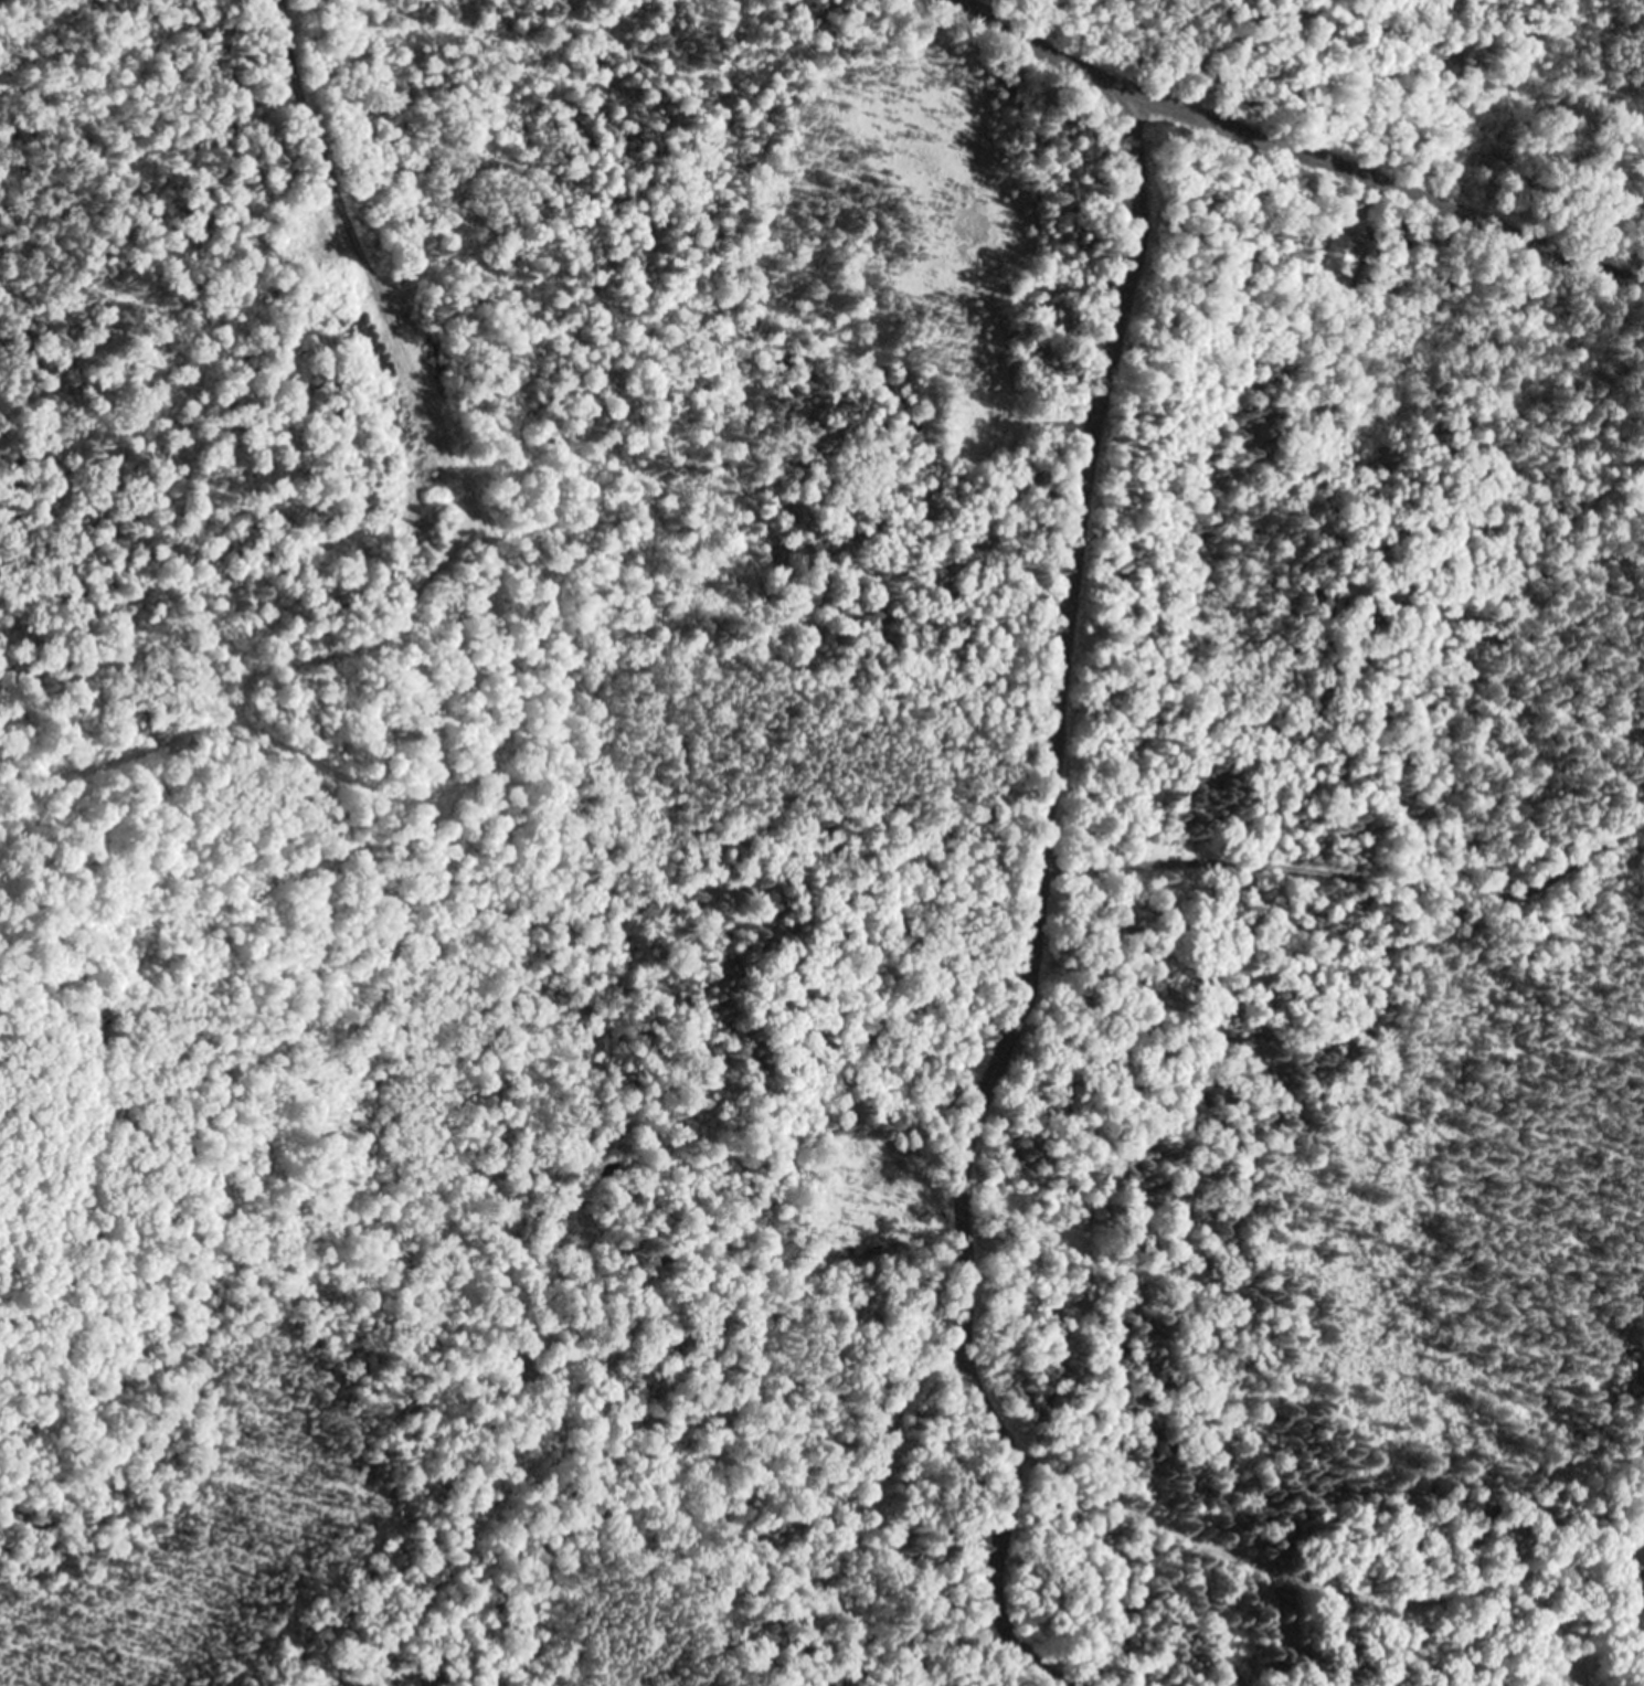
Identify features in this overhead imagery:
road: (1295, 147)
road: (1509, 825)
road: (1029, 920)
road: (1335, 1008)
road: (1624, 1577)

